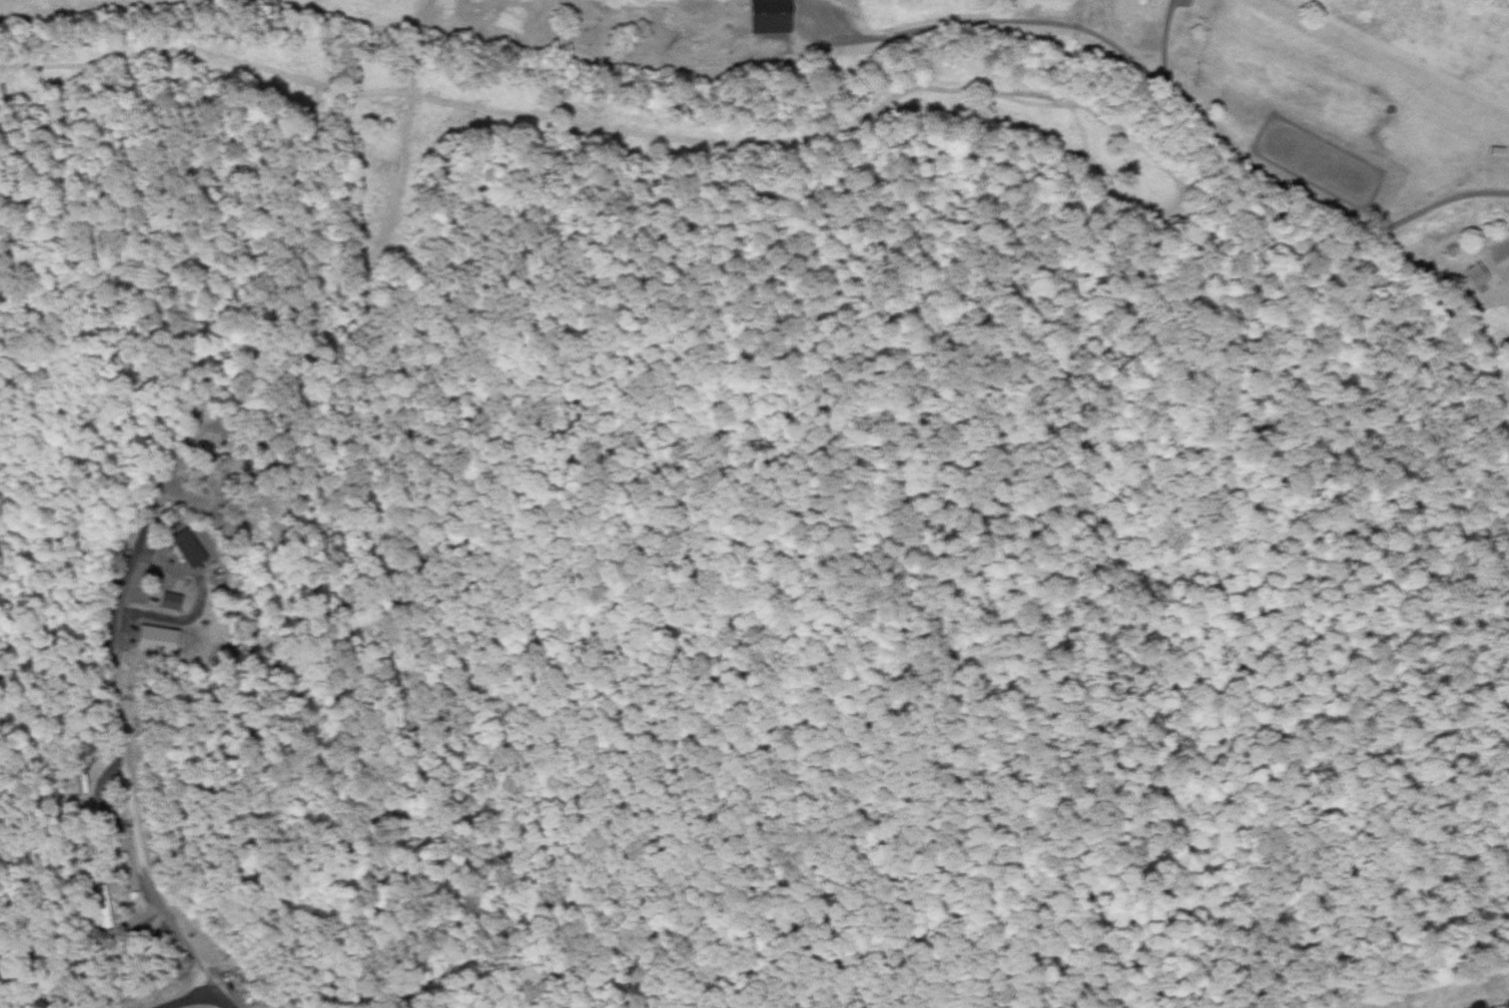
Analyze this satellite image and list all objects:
building: (773, 17)
building: (1478, 275)
building: (187, 547)
building: (155, 565)
building: (170, 601)
building: (156, 640)
road: (123, 788)
building: (102, 910)
road: (932, 912)
road: (194, 1002)

